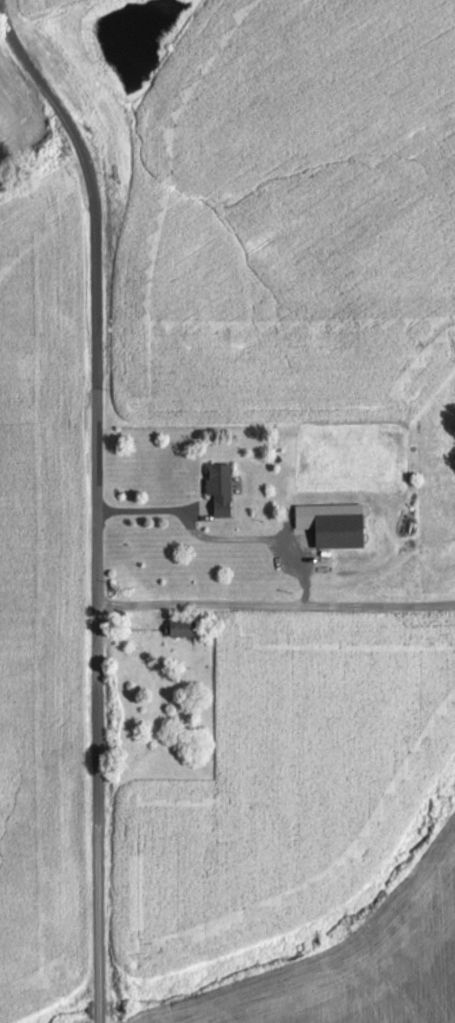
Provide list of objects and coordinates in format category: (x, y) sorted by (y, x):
building: (219, 488)
road: (102, 497)
building: (337, 530)
road: (278, 603)
building: (180, 627)

